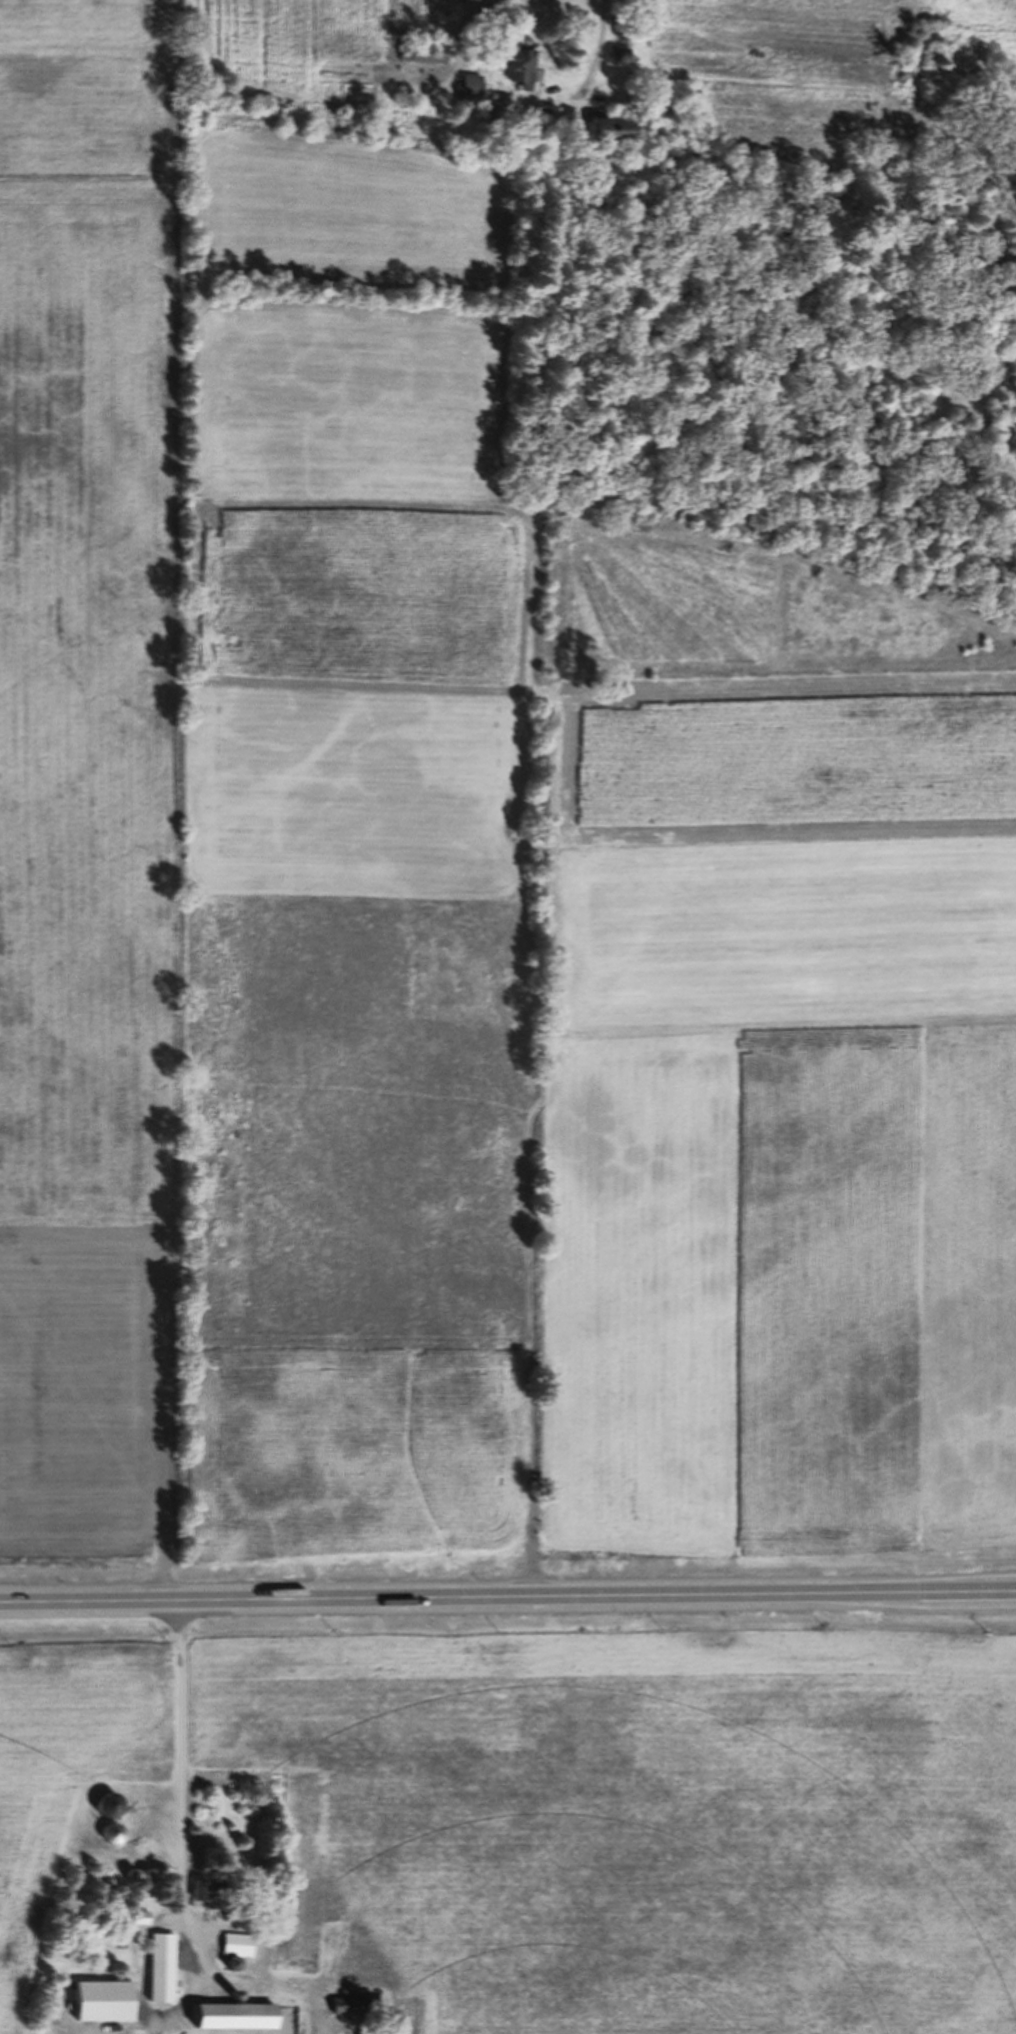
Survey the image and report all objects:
road: (596, 55)
building: (618, 60)
building: (421, 61)
building: (520, 76)
building: (486, 126)
building: (613, 138)
crop: (450, 929)
road: (507, 1603)
road: (181, 1745)
building: (108, 1841)
building: (206, 1898)
building: (235, 1953)
building: (160, 1976)
building: (102, 2009)
building: (235, 2023)

